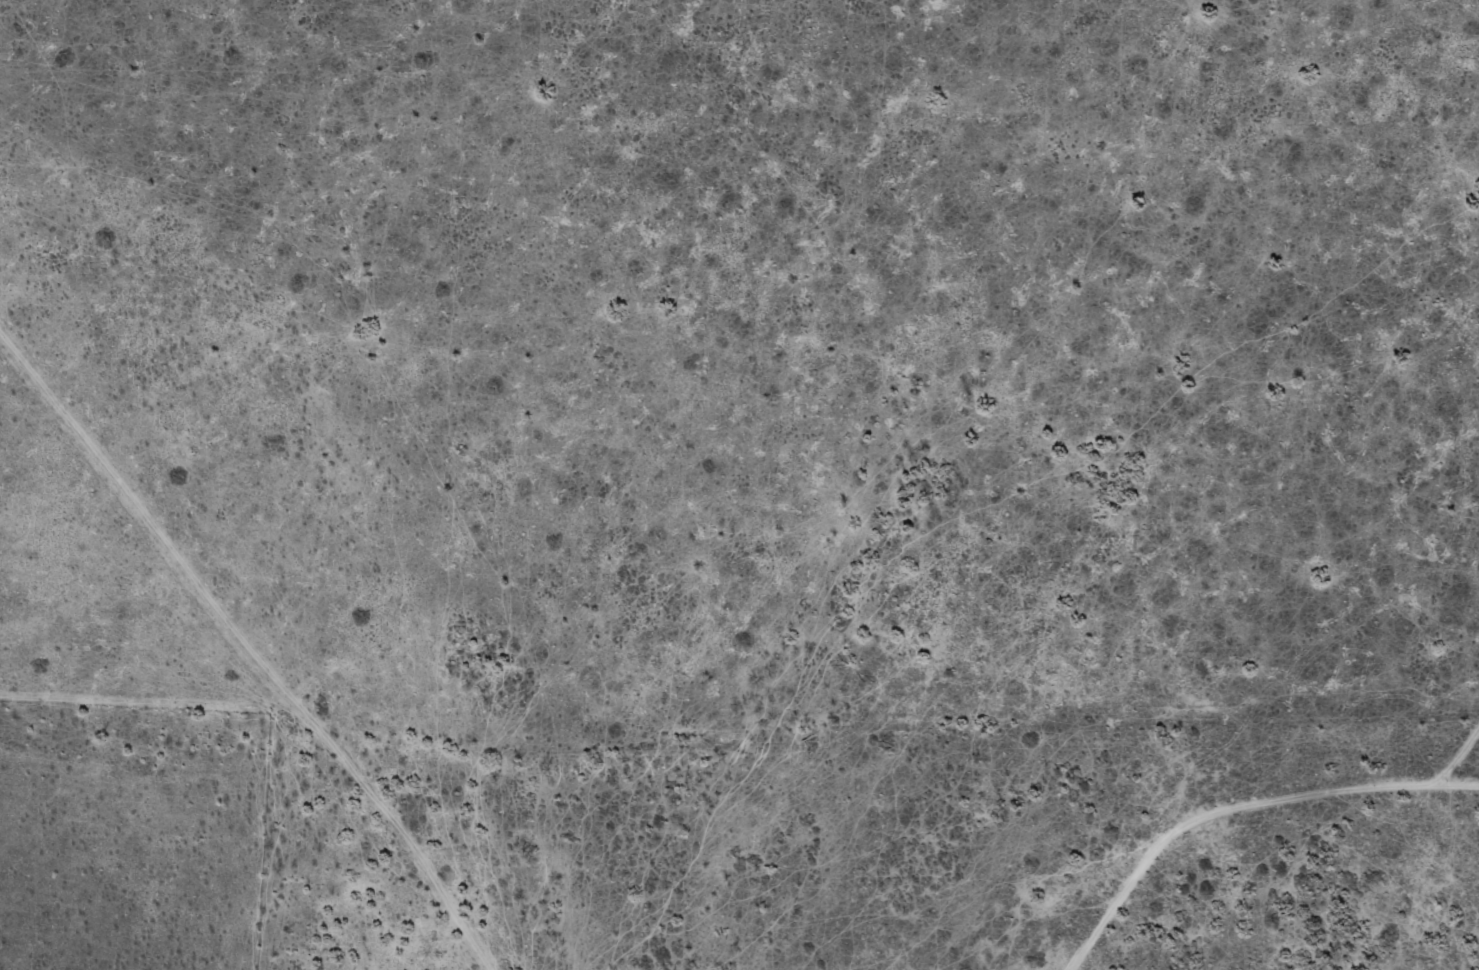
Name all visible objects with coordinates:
road: (1239, 821)

